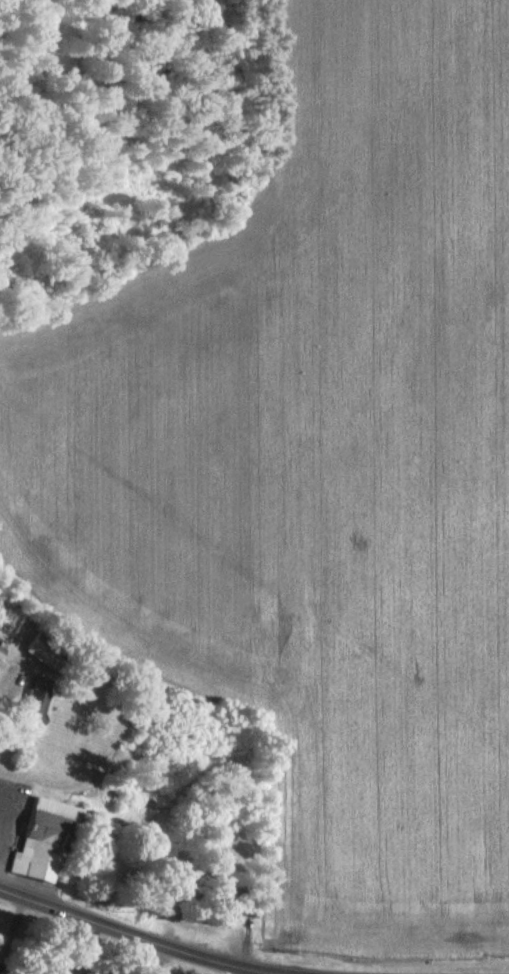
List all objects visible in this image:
building: (46, 654)
building: (1, 655)
building: (35, 706)
building: (46, 842)
road: (123, 932)

